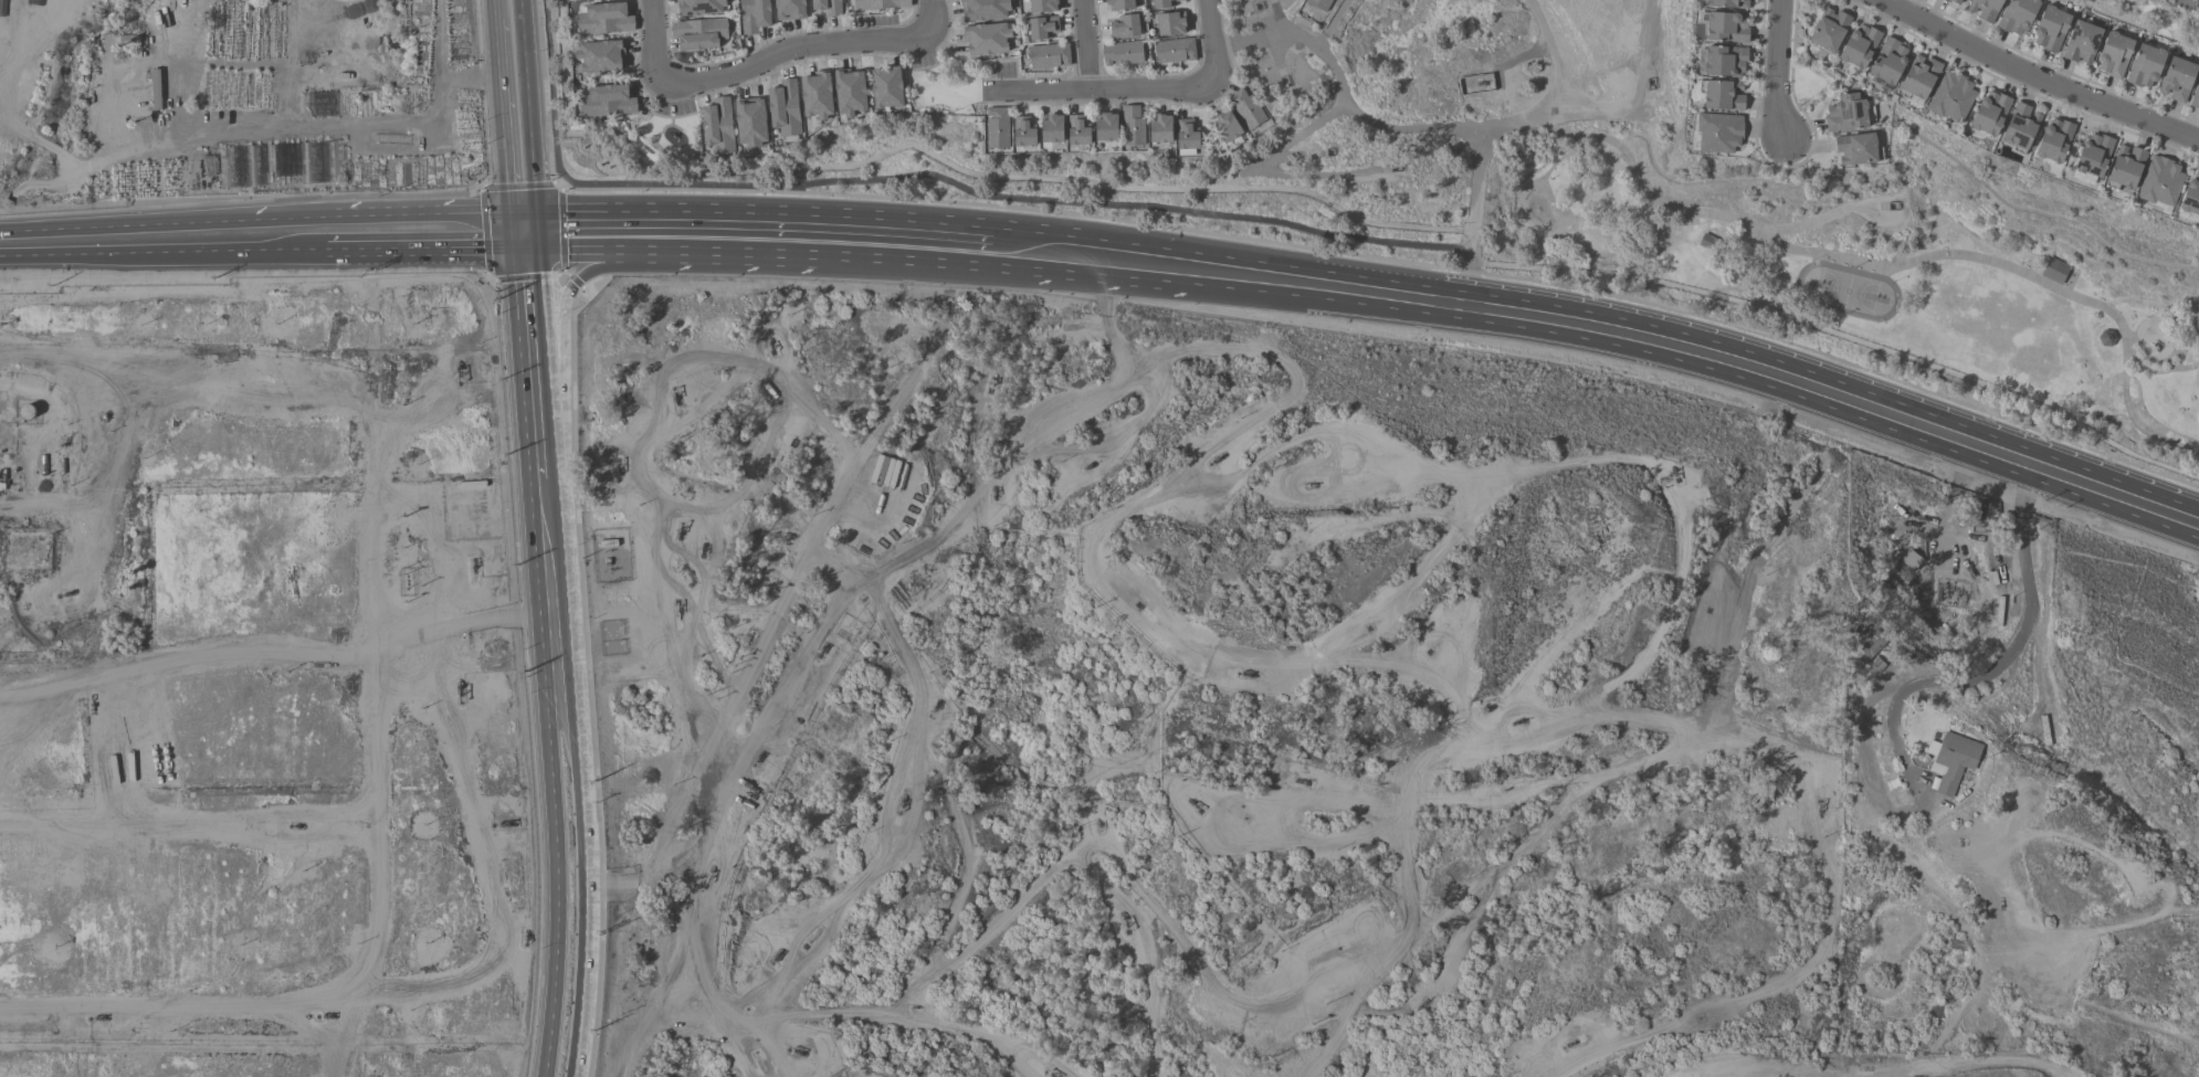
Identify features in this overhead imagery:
building: (1165, 2)
building: (1957, 2)
building: (1118, 3)
building: (1729, 3)
building: (880, 4)
building: (1321, 4)
building: (1042, 6)
building: (698, 7)
building: (827, 7)
building: (789, 9)
building: (983, 9)
building: (1984, 9)
building: (753, 15)
building: (2017, 15)
road: (930, 18)
building: (604, 19)
building: (1170, 23)
building: (1125, 27)
building: (1042, 28)
building: (1726, 28)
building: (2050, 29)
building: (1828, 30)
building: (698, 33)
road: (655, 39)
building: (987, 39)
building: (2081, 42)
road: (1211, 43)
road: (1086, 45)
building: (1859, 45)
building: (1174, 50)
road: (792, 51)
building: (1122, 53)
building: (2114, 54)
building: (600, 55)
building: (1048, 55)
road: (1550, 57)
building: (1724, 61)
building: (1887, 61)
building: (2145, 65)
road: (1778, 73)
road: (2039, 78)
building: (2176, 78)
building: (886, 87)
park: (947, 89)
road: (1097, 89)
building: (850, 92)
building: (1723, 95)
building: (2195, 95)
building: (816, 96)
building: (1950, 97)
building: (607, 101)
building: (783, 108)
building: (1245, 108)
building: (1848, 113)
building: (1989, 113)
road: (518, 115)
building: (749, 122)
building: (1132, 125)
building: (717, 126)
building: (1225, 126)
building: (2020, 126)
building: (996, 127)
building: (1105, 127)
building: (1051, 128)
building: (1159, 129)
building: (1022, 130)
building: (1076, 130)
building: (1717, 133)
building: (1186, 135)
park: (667, 137)
building: (2053, 140)
road: (1483, 146)
building: (1855, 149)
road: (1579, 152)
building: (2093, 155)
building: (2125, 166)
building: (2159, 180)
road: (1719, 181)
road: (665, 186)
park: (1540, 191)
building: (2190, 194)
road: (1126, 204)
road: (425, 229)
traffic signals: (527, 230)
road: (639, 230)
road: (1787, 230)
road: (869, 236)
road: (162, 239)
road: (1474, 241)
road: (1037, 251)
park: (1890, 256)
road: (1138, 263)
road: (1898, 266)
road: (600, 267)
building: (2054, 271)
road: (1503, 275)
road: (1249, 278)
road: (1472, 284)
park: (1846, 292)
road: (1389, 296)
road: (2157, 307)
road: (533, 317)
building: (2196, 319)
building: (2106, 338)
petroleum well: (769, 342)
petroleum well: (456, 368)
road: (2151, 372)
petroleum well: (991, 381)
road: (1840, 397)
petroleum well: (675, 398)
road: (541, 443)
road: (1221, 446)
road: (636, 450)
petroleum well: (1218, 460)
road: (1569, 464)
petroleum well: (617, 468)
petroleum well: (1674, 472)
petroleum well: (1311, 486)
petroleum well: (993, 492)
petroleum well: (678, 531)
road: (548, 550)
building: (1911, 560)
petroleum well: (473, 567)
road: (1404, 588)
petroleum well: (1938, 591)
petroleum well: (65, 592)
petroleum well: (1947, 592)
petroleum well: (1955, 592)
petroleum well: (1961, 595)
petroleum well: (677, 612)
road: (765, 634)
building: (1873, 644)
petroleum well: (1433, 646)
petroleum well: (819, 648)
road: (1992, 672)
petroleum well: (1246, 673)
petroleum well: (456, 686)
park: (2140, 703)
road: (1586, 719)
petroleum well: (1521, 720)
road: (1754, 747)
petroleum well: (758, 758)
building: (1950, 759)
petroleum well: (1302, 781)
road: (911, 802)
petroleum well: (1191, 802)
petroleum well: (902, 803)
petroleum well: (1818, 807)
petroleum well: (1097, 821)
petroleum well: (505, 822)
petroleum well: (295, 823)
road: (582, 846)
road: (554, 847)
petroleum well: (708, 876)
road: (965, 880)
road: (1452, 904)
petroleum well: (525, 936)
petroleum well: (813, 941)
petroleum well: (777, 953)
road: (1143, 959)
road: (701, 991)
road: (1241, 1001)
petroleum well: (1424, 1002)
petroleum well: (323, 1011)
road: (650, 1011)
road: (1346, 1016)
petroleum well: (98, 1017)
road: (902, 1020)
petroleum well: (1566, 1043)
petroleum well: (797, 1052)
road: (1914, 1074)
petroleum well: (1052, 1076)

